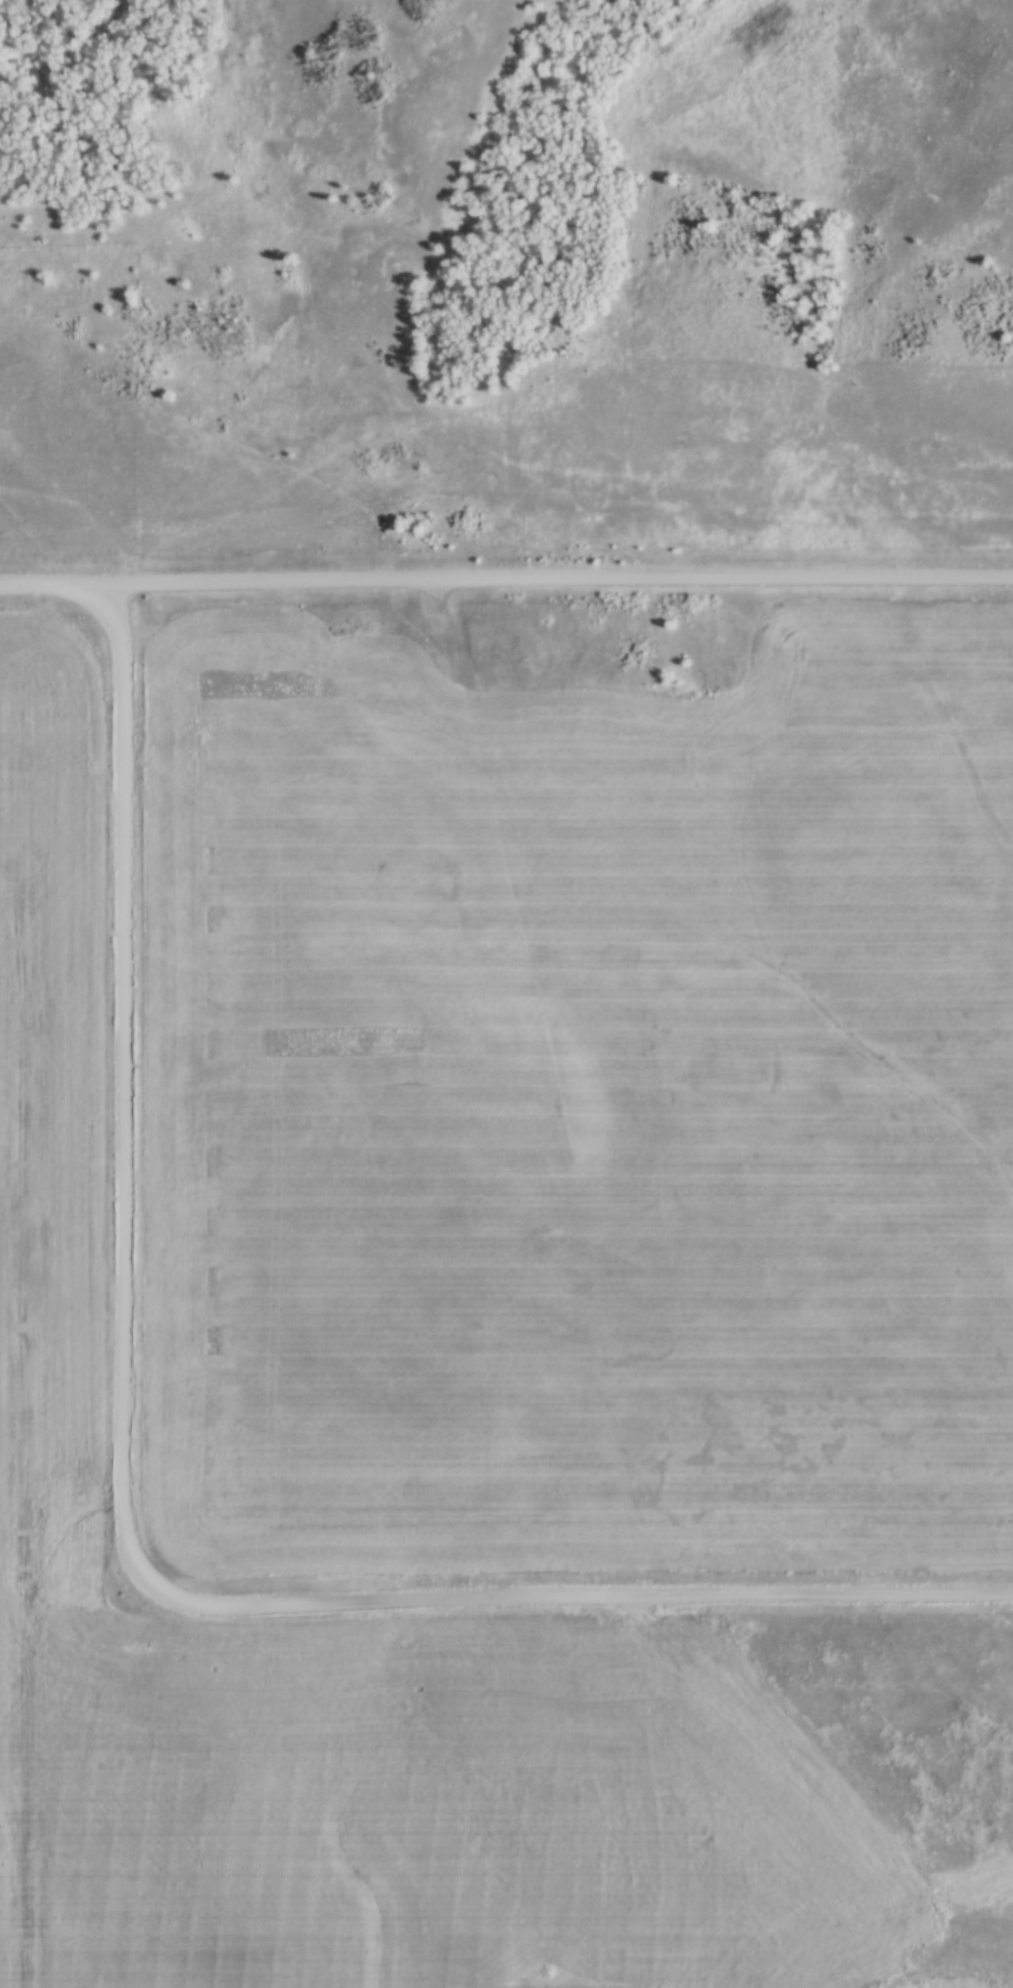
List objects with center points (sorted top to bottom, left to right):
road: (568, 584)
road: (61, 589)
road: (124, 1525)

